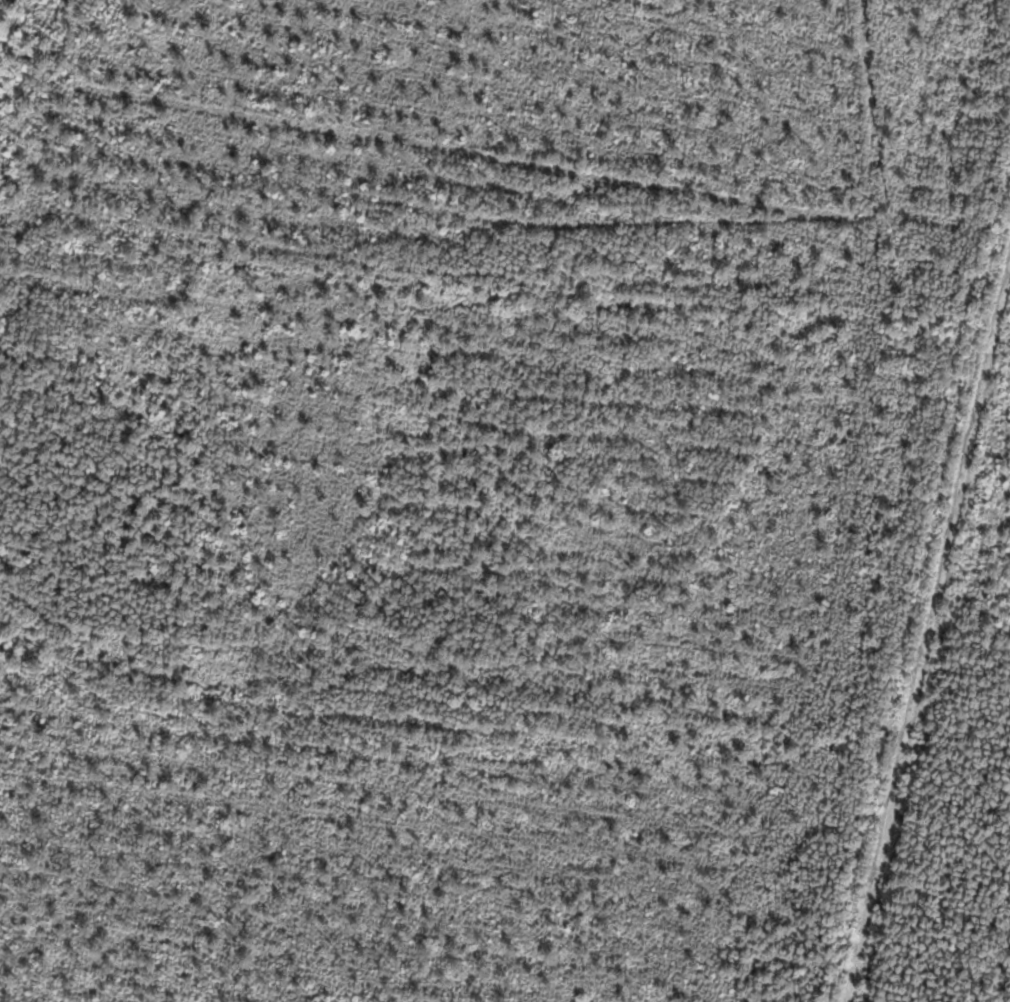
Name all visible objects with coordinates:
road: (926, 620)

